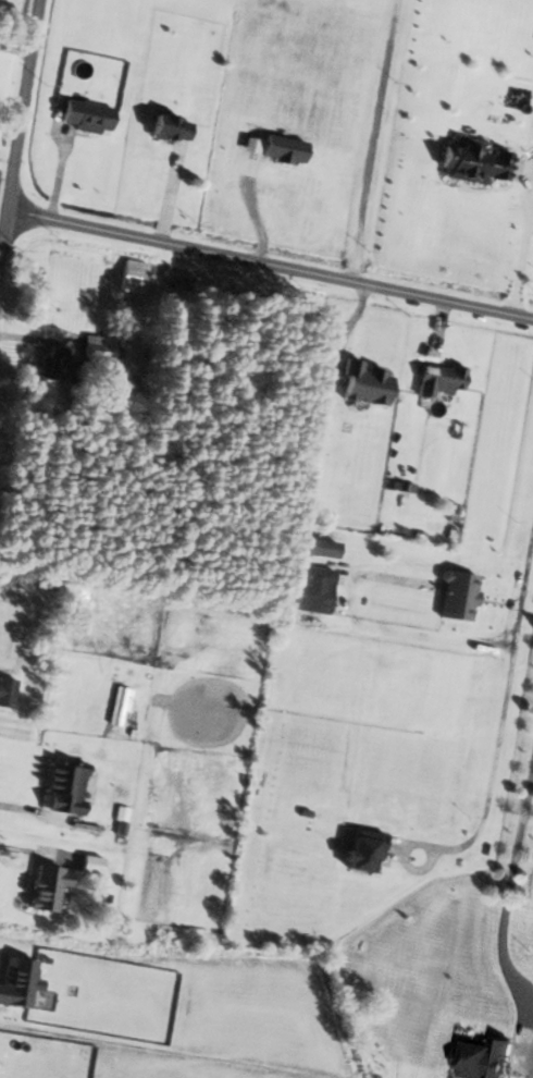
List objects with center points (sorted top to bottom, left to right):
road: (17, 115)
building: (82, 115)
building: (164, 127)
road: (371, 145)
building: (471, 161)
road: (168, 198)
road: (520, 250)
road: (268, 274)
building: (129, 275)
building: (98, 350)
building: (51, 363)
building: (436, 379)
building: (361, 383)
building: (313, 548)
building: (308, 589)
building: (453, 597)
building: (5, 690)
building: (117, 706)
road: (503, 714)
building: (60, 786)
road: (15, 806)
building: (358, 848)
road: (25, 858)
building: (95, 865)
road: (510, 882)
building: (42, 886)
building: (483, 1058)

